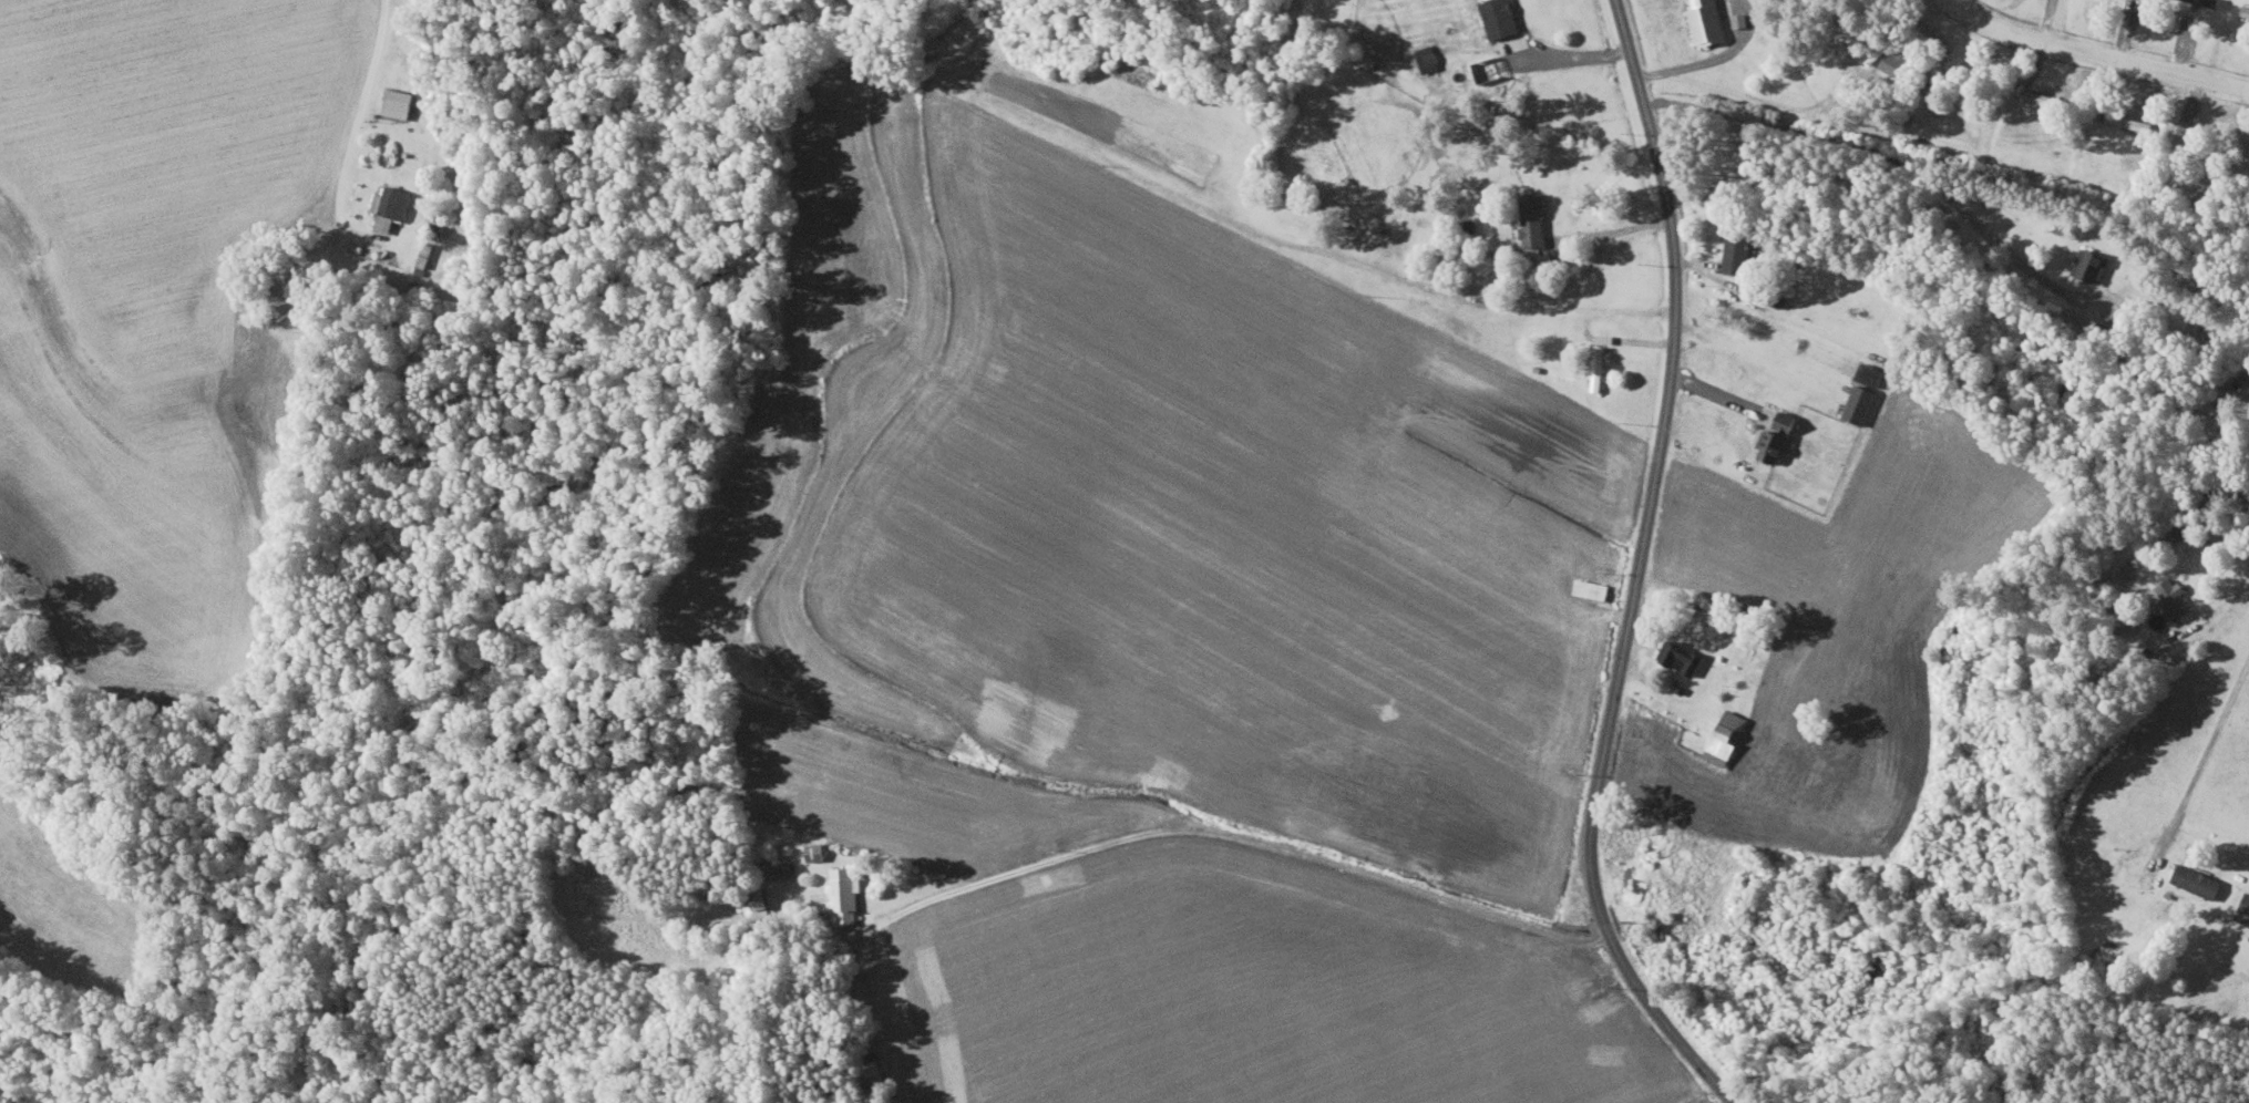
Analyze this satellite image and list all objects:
building: (2209, 2)
building: (1500, 18)
building: (1739, 20)
building: (1708, 22)
road: (1568, 53)
road: (2095, 54)
building: (1429, 59)
road: (1715, 59)
building: (1899, 61)
building: (399, 102)
road: (356, 114)
building: (391, 206)
building: (1534, 218)
building: (1738, 245)
building: (2093, 264)
building: (1600, 365)
building: (1872, 374)
building: (1861, 402)
building: (1778, 437)
road: (1631, 571)
building: (2175, 597)
building: (2124, 616)
building: (1727, 736)
road: (2205, 755)
road: (1175, 827)
building: (817, 851)
building: (778, 867)
building: (2198, 880)
building: (845, 895)
building: (753, 903)
building: (2245, 910)
building: (875, 1066)

